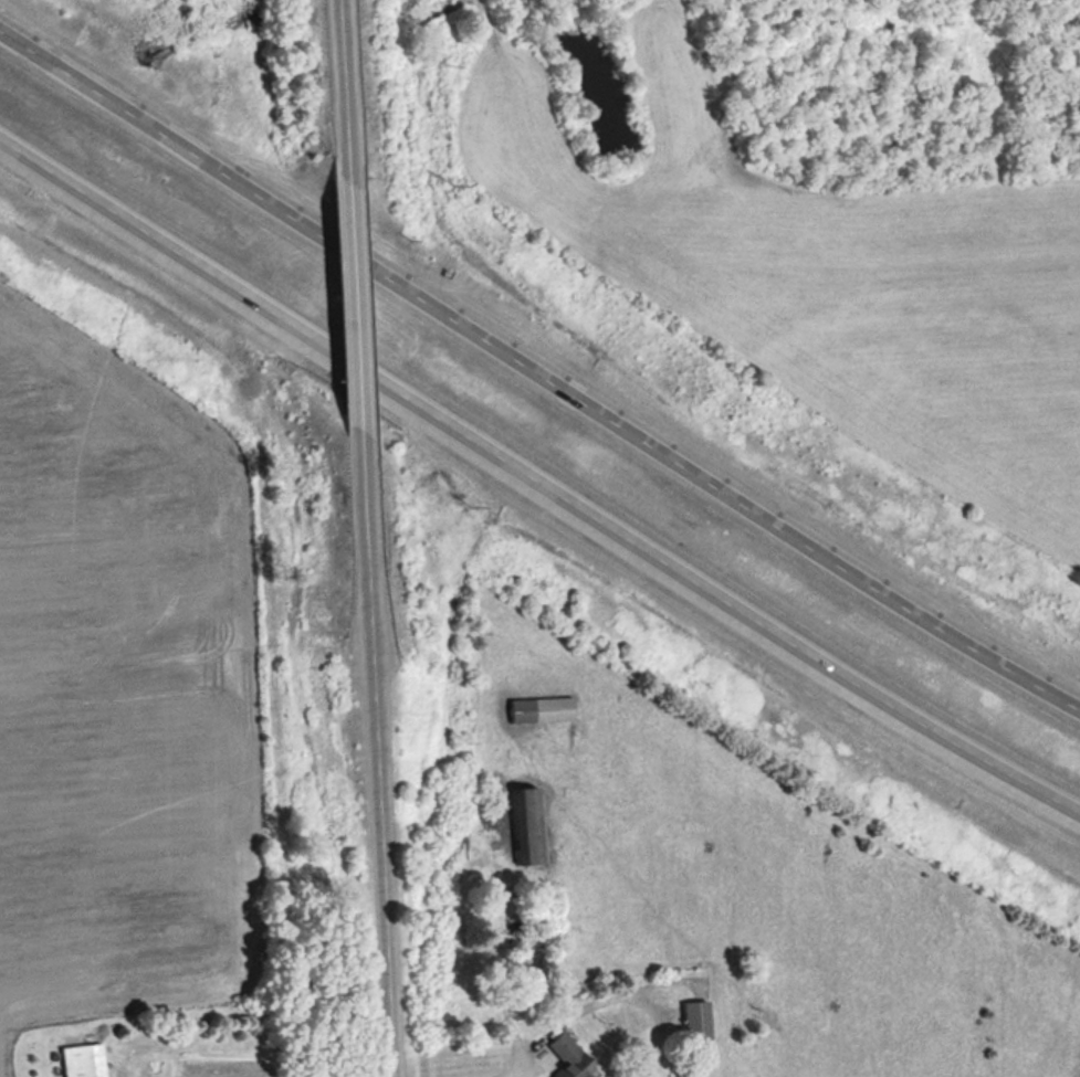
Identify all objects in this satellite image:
road: (339, 89)
road: (353, 314)
road: (537, 377)
road: (535, 484)
building: (541, 710)
road: (373, 763)
building: (527, 824)
building: (696, 1020)
building: (569, 1057)
building: (82, 1060)
road: (506, 1073)

